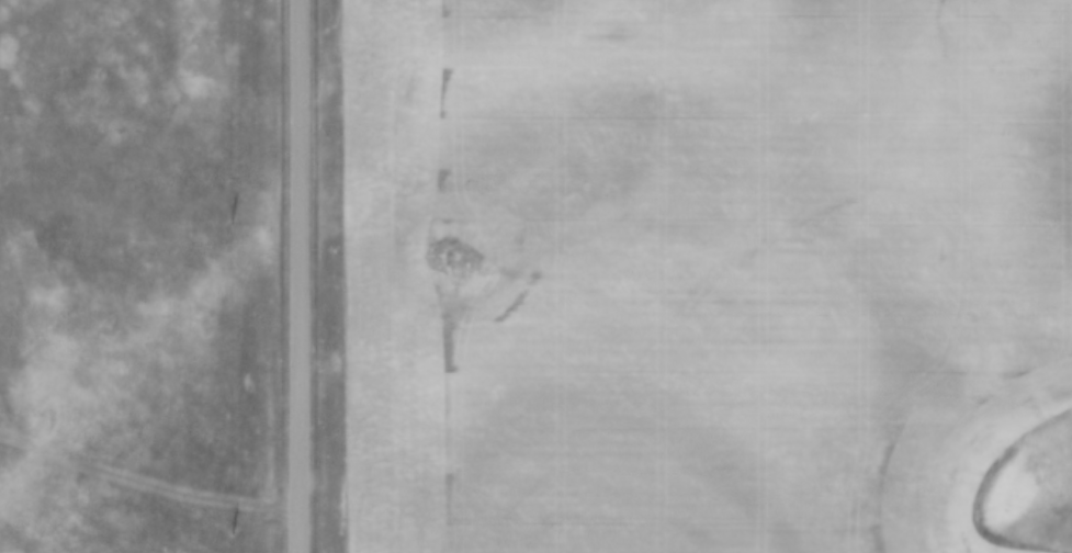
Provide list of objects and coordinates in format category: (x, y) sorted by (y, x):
road: (302, 276)

